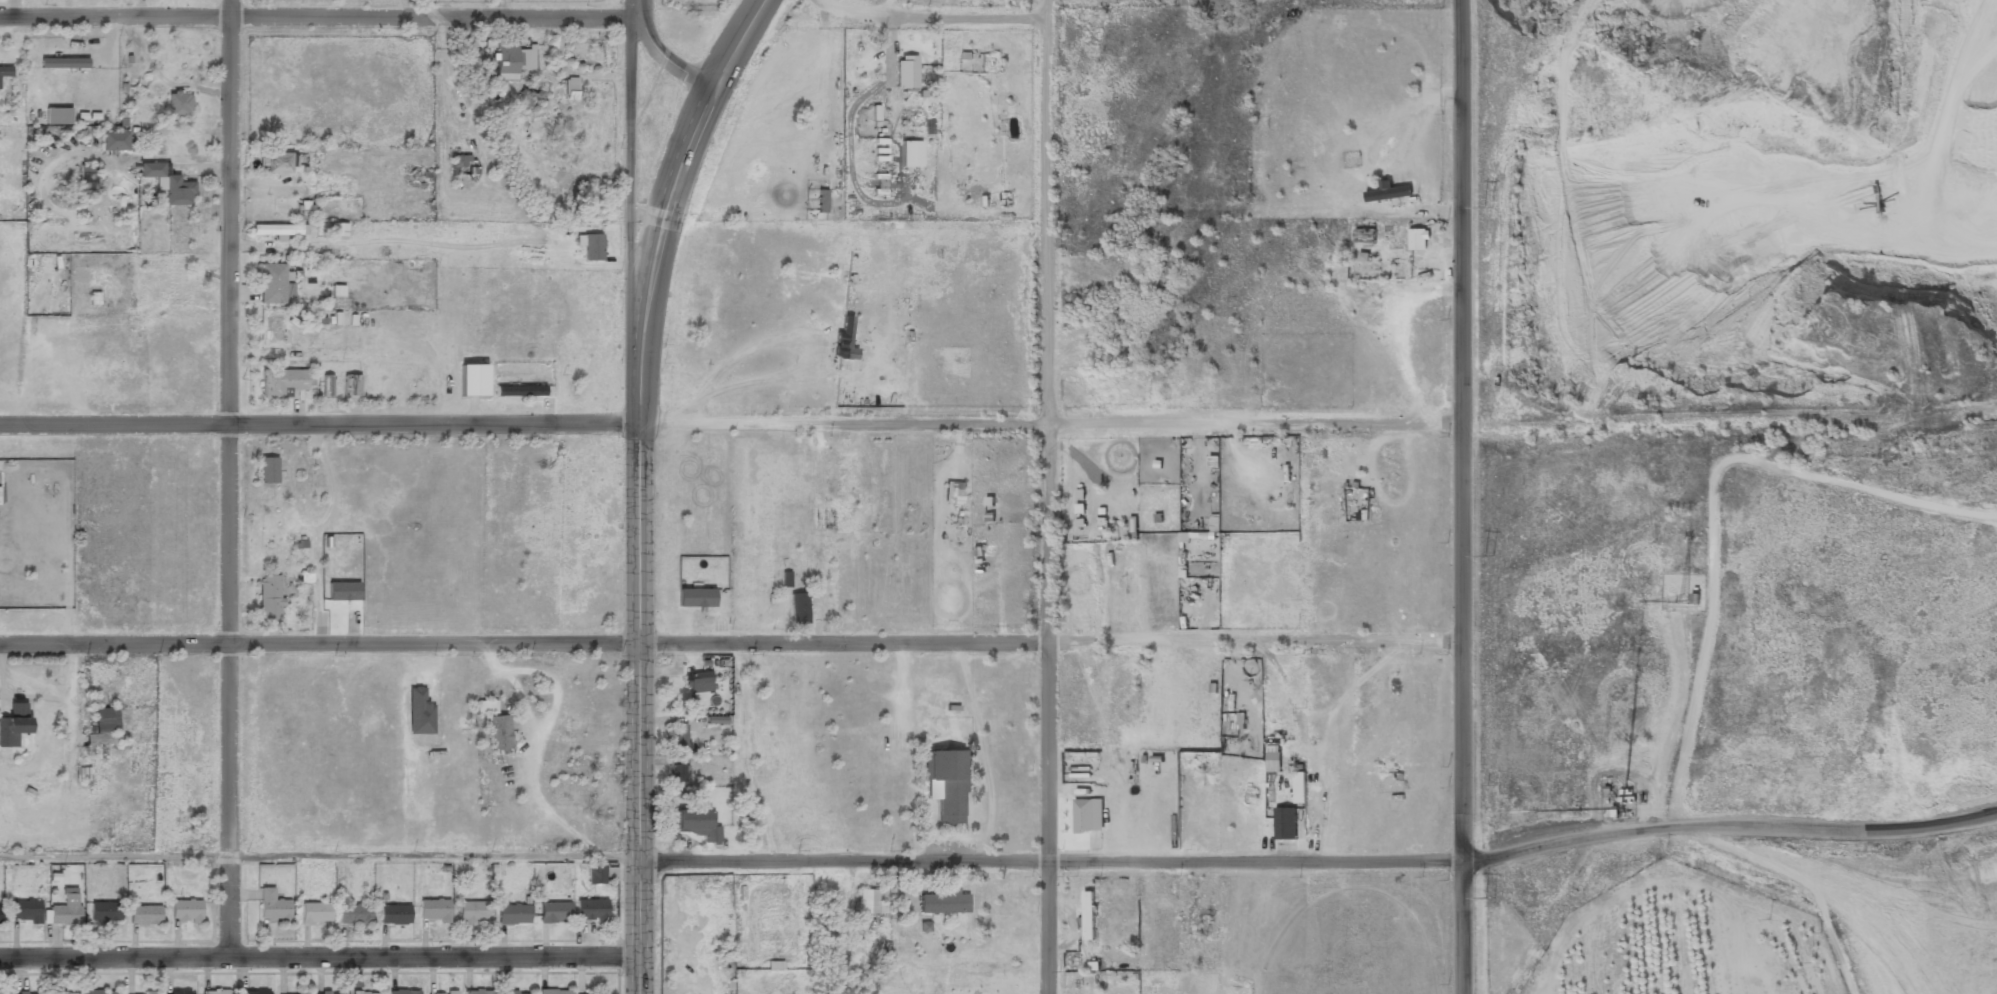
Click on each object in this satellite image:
road: (318, 14)
road: (1140, 17)
road: (737, 41)
road: (660, 53)
building: (506, 60)
building: (4, 71)
building: (905, 72)
building: (571, 88)
building: (531, 94)
building: (178, 105)
building: (114, 141)
building: (909, 153)
building: (460, 160)
building: (279, 163)
road: (628, 169)
building: (87, 181)
building: (168, 184)
building: (1389, 193)
road: (666, 199)
building: (820, 200)
power tower: (1489, 208)
building: (306, 209)
building: (338, 229)
building: (277, 230)
building: (1417, 239)
building: (591, 245)
building: (274, 285)
building: (179, 286)
building: (337, 291)
building: (275, 331)
building: (845, 337)
building: (473, 380)
building: (280, 382)
building: (350, 385)
building: (326, 386)
building: (519, 391)
road: (1729, 418)
road: (730, 422)
building: (267, 471)
road: (227, 478)
building: (957, 485)
building: (1079, 492)
road: (1047, 497)
road: (1461, 497)
building: (956, 500)
building: (989, 500)
building: (1079, 508)
building: (1102, 510)
building: (990, 517)
building: (1157, 517)
building: (1102, 521)
building: (1079, 522)
building: (1133, 523)
building: (1184, 536)
building: (979, 550)
power tower: (1489, 554)
building: (786, 579)
building: (342, 591)
building: (269, 597)
building: (696, 597)
building: (1693, 598)
building: (798, 608)
road: (730, 642)
road: (638, 657)
building: (698, 681)
landfill: (1850, 682)
building: (93, 700)
building: (485, 707)
road: (71, 708)
building: (419, 712)
road: (1673, 723)
building: (11, 727)
building: (102, 727)
building: (498, 735)
building: (678, 736)
building: (1273, 755)
building: (677, 773)
building: (82, 775)
building: (945, 784)
building: (1298, 787)
building: (1624, 791)
building: (1625, 799)
building: (1613, 811)
building: (1083, 815)
building: (1284, 823)
road: (1728, 823)
building: (693, 824)
road: (319, 856)
road: (1049, 862)
building: (595, 873)
power tower: (1489, 897)
building: (867, 901)
building: (942, 902)
building: (272, 906)
building: (433, 909)
building: (590, 909)
building: (65, 910)
building: (185, 910)
building: (24, 911)
building: (104, 911)
building: (473, 911)
building: (553, 911)
building: (315, 912)
building: (354, 913)
building: (394, 913)
building: (513, 913)
building: (1191, 913)
building: (1087, 914)
building: (0, 915)
building: (143, 915)
road: (319, 957)
building: (354, 980)
building: (215, 991)
building: (403, 991)
building: (478, 991)
building: (553, 991)
building: (0, 992)
building: (102, 992)
building: (151, 992)
building: (253, 992)
building: (441, 992)
building: (33, 993)
building: (64, 993)
building: (178, 993)
building: (281, 993)
building: (329, 993)
building: (366, 993)
building: (515, 993)
building: (589, 993)

